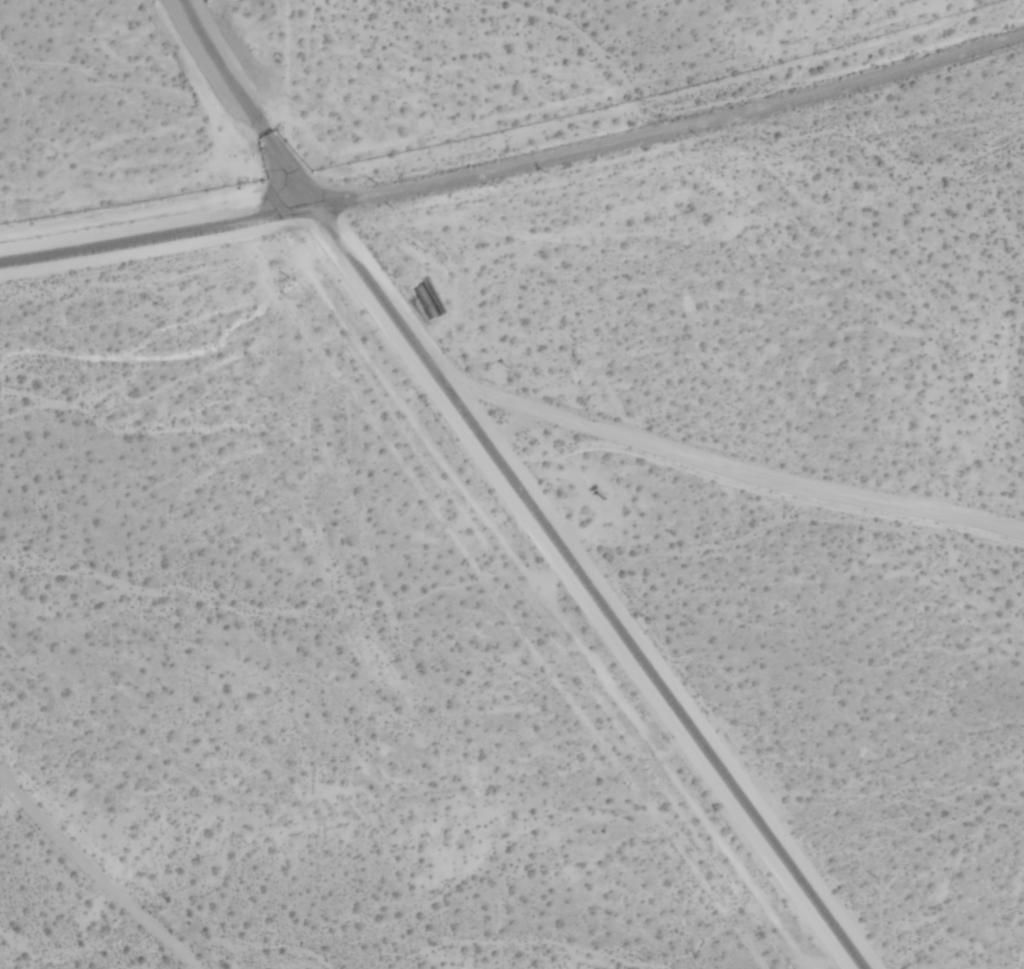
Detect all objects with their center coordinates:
road: (245, 103)
road: (515, 161)
road: (588, 587)

